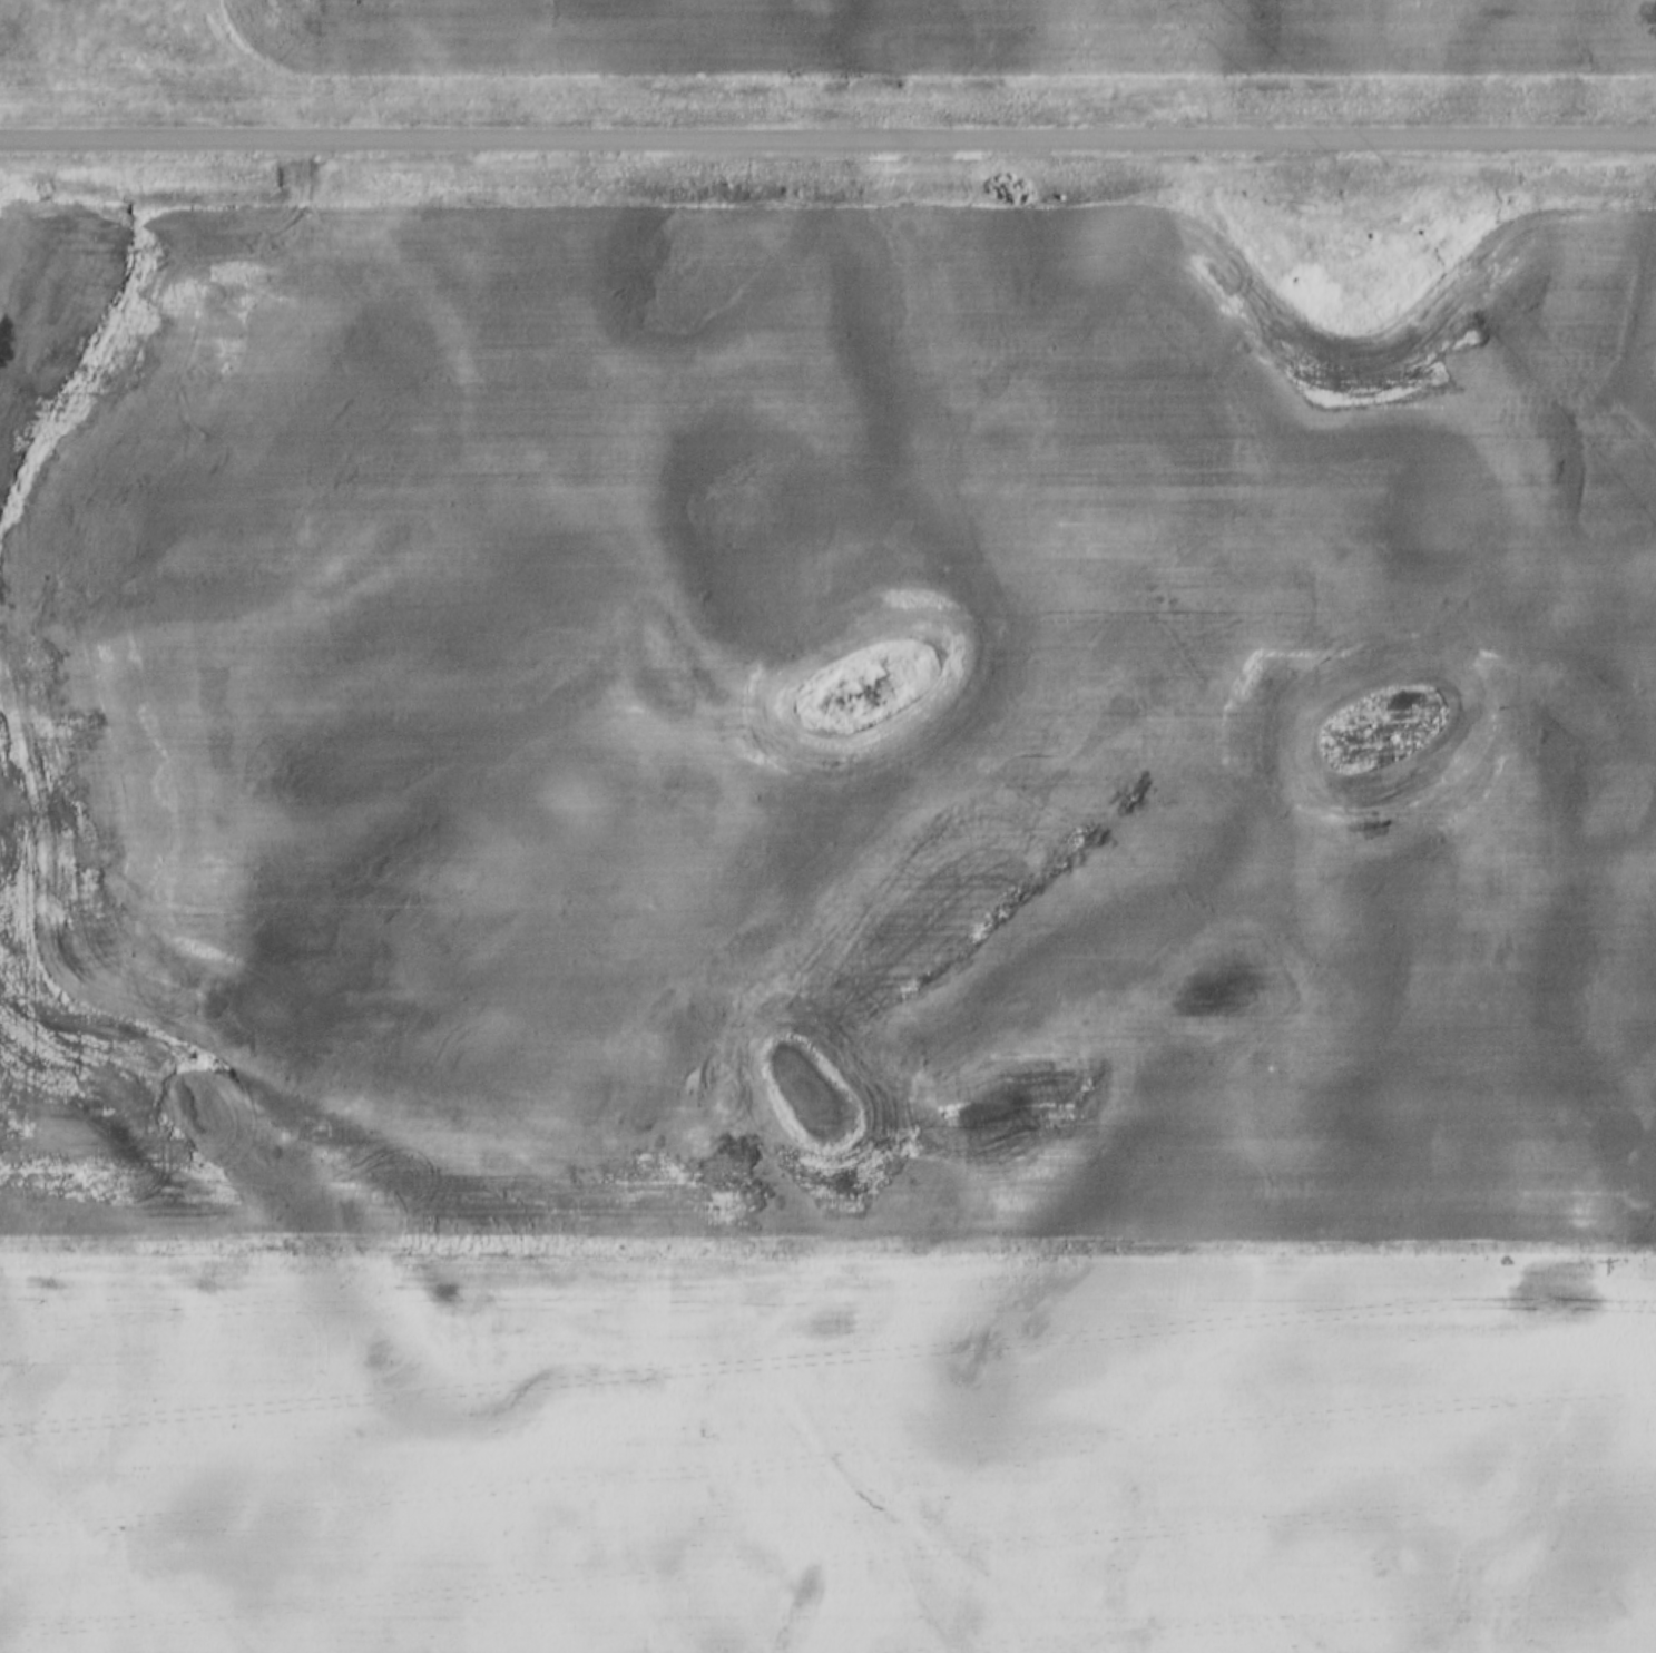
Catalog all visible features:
road: (827, 139)

